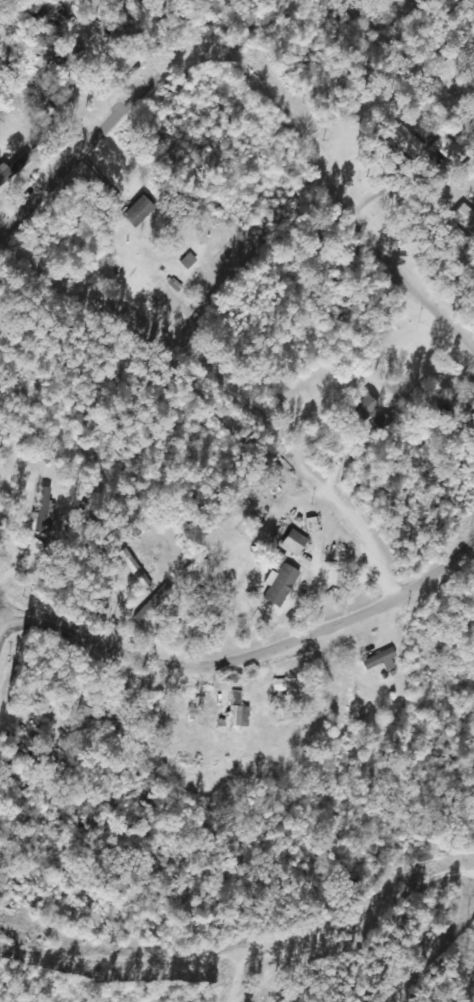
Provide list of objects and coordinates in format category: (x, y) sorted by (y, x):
building: (103, 44)
building: (55, 63)
road: (90, 161)
road: (325, 189)
building: (139, 210)
building: (186, 261)
road: (231, 402)
building: (366, 407)
building: (43, 508)
building: (294, 543)
building: (281, 589)
road: (20, 631)
building: (378, 659)
road: (256, 660)
building: (92, 710)
building: (236, 711)
building: (192, 715)
road: (245, 965)
road: (249, 983)

